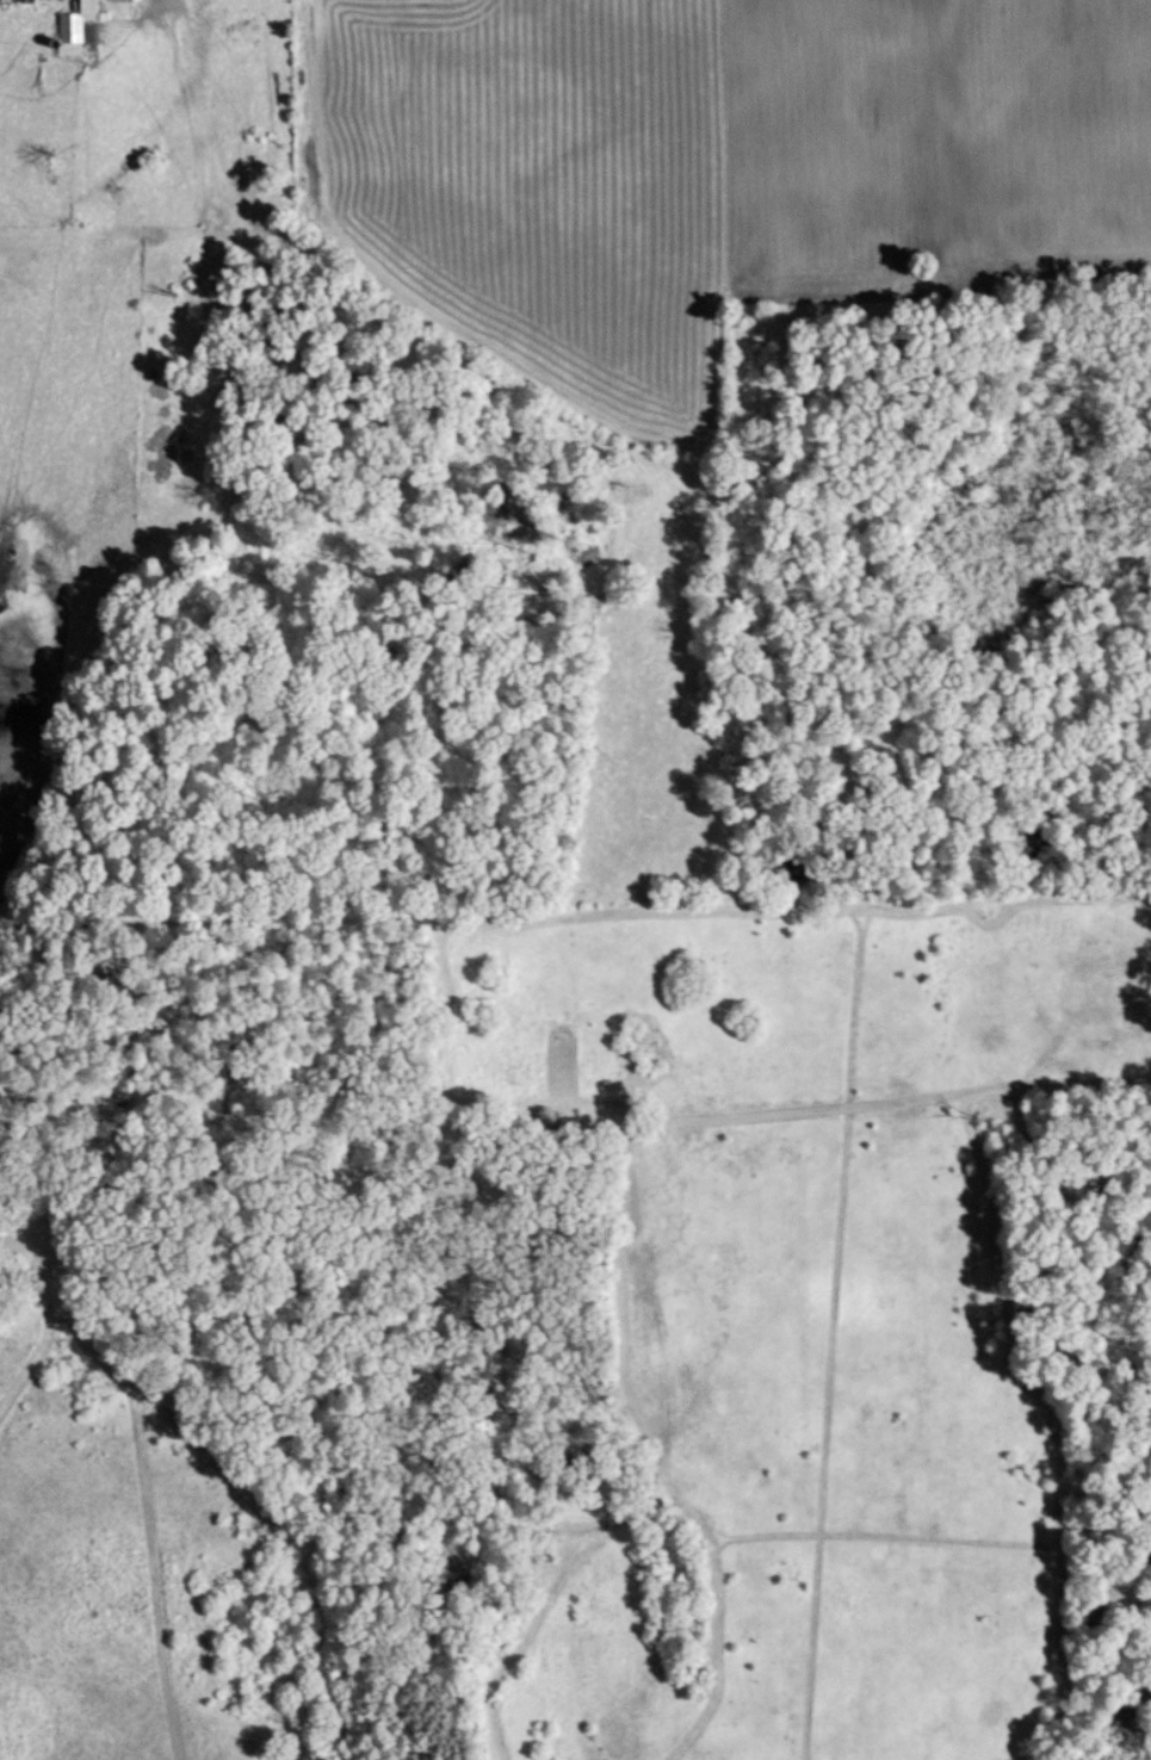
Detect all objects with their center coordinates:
building: (69, 37)

